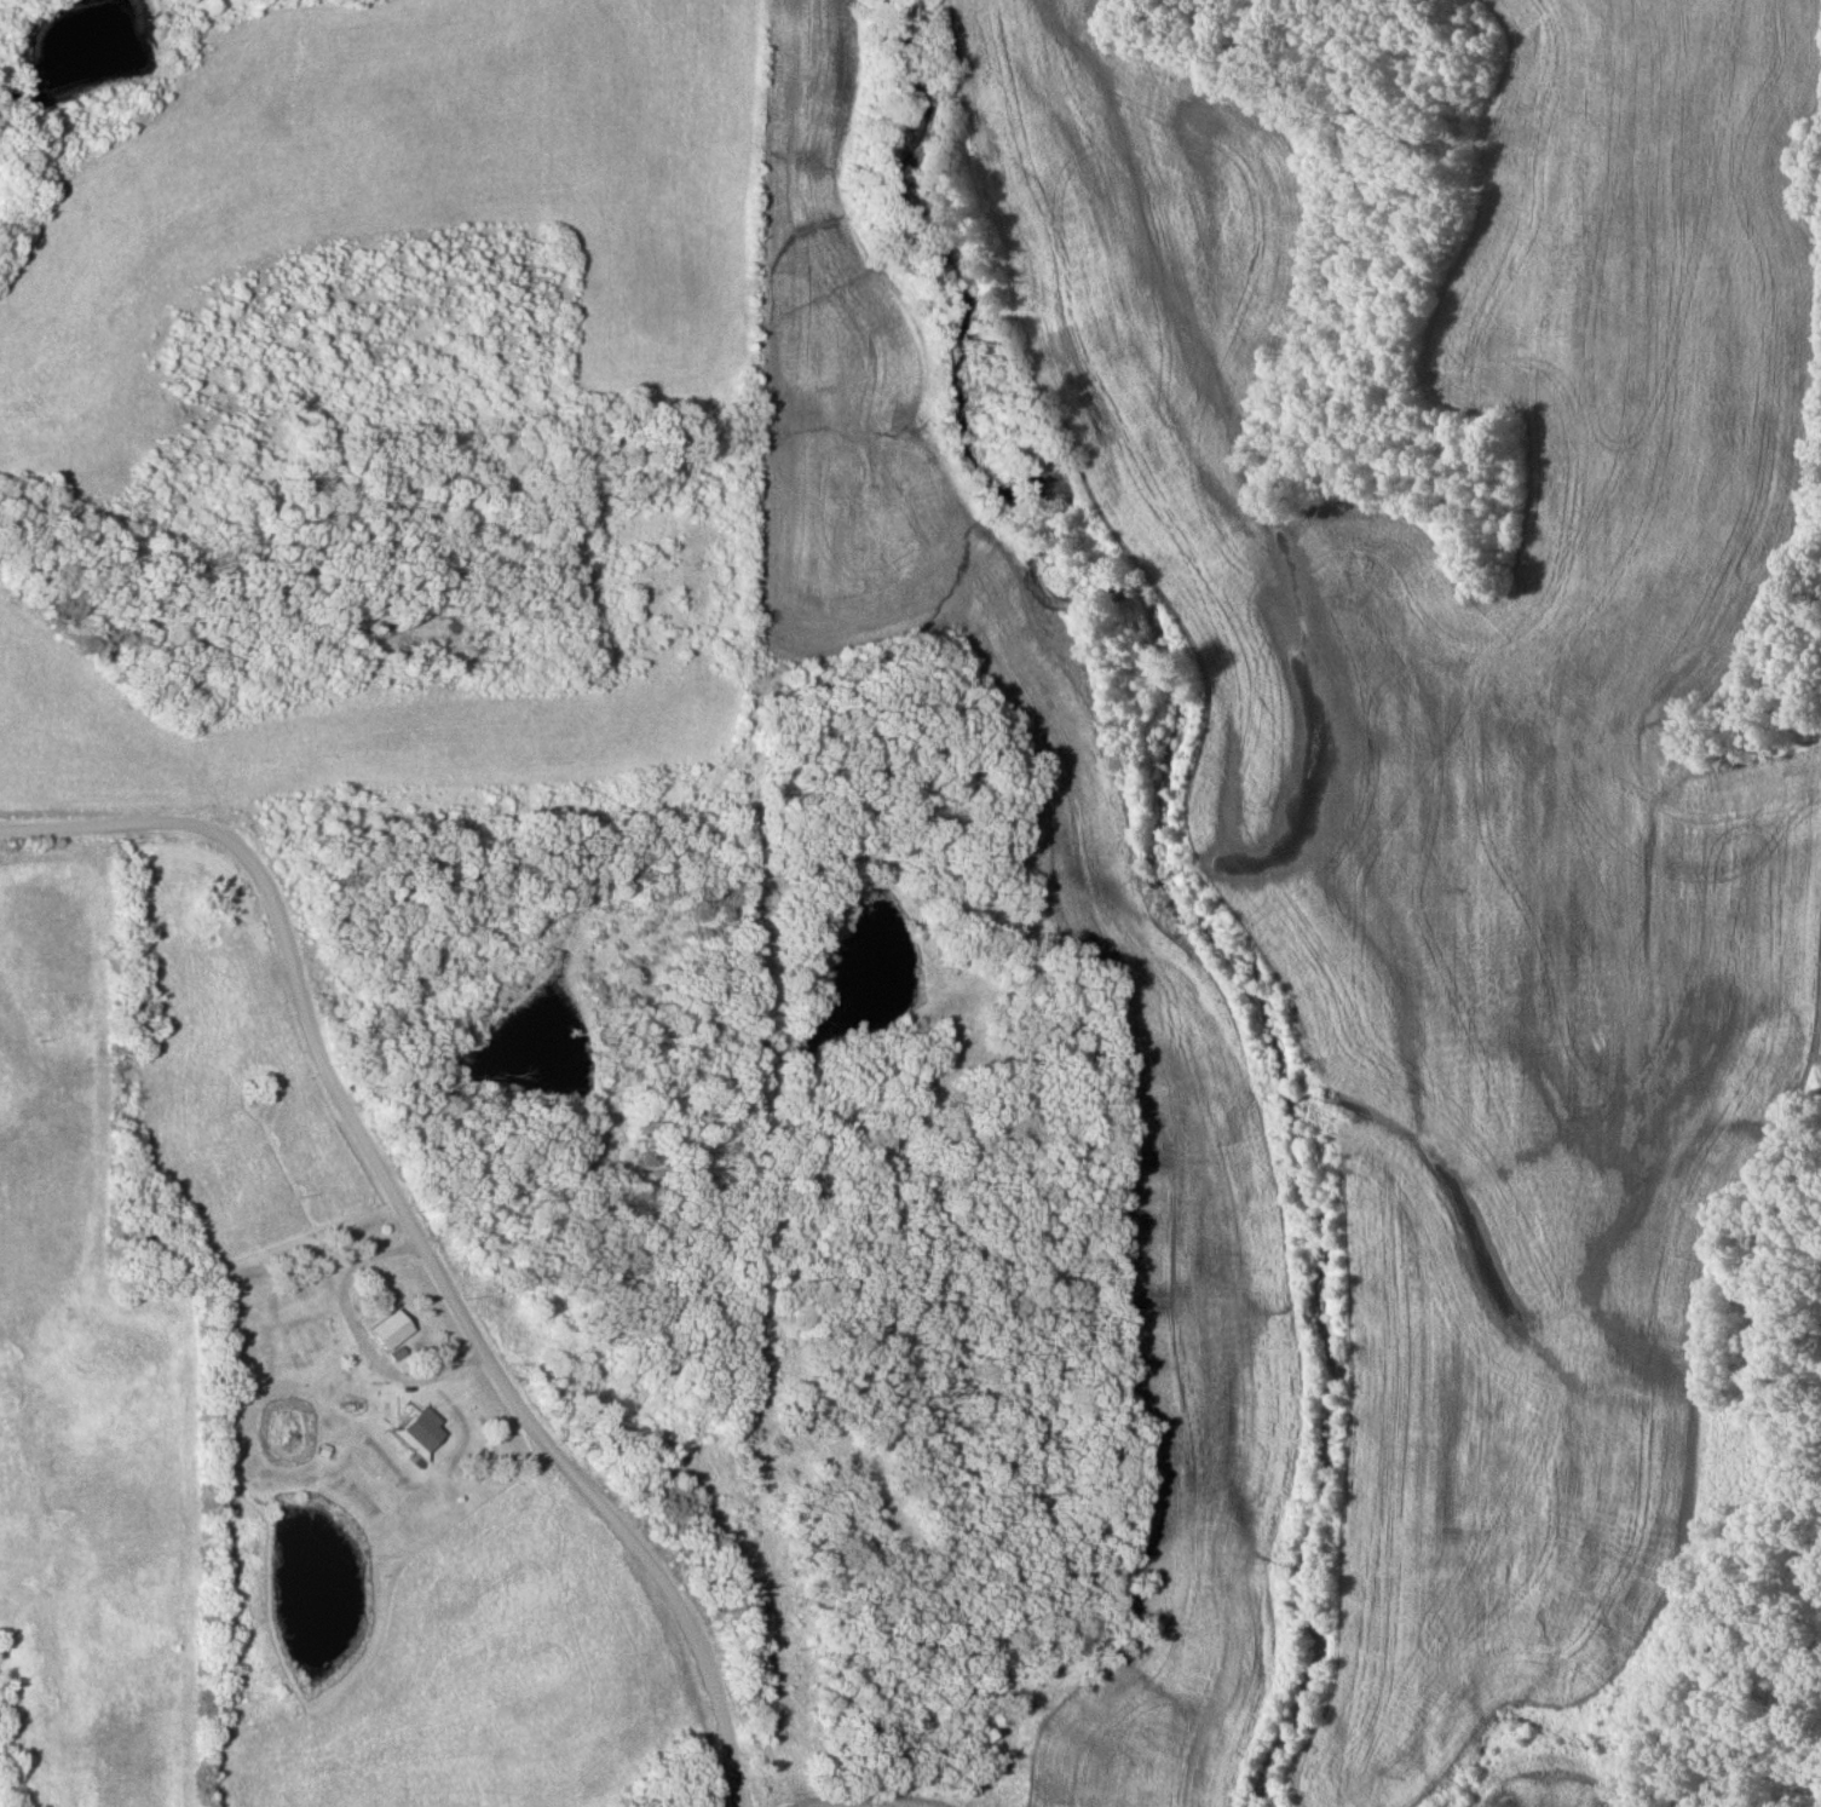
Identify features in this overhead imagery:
road: (416, 1226)
building: (386, 1331)
building: (417, 1434)
building: (1087, 1746)

